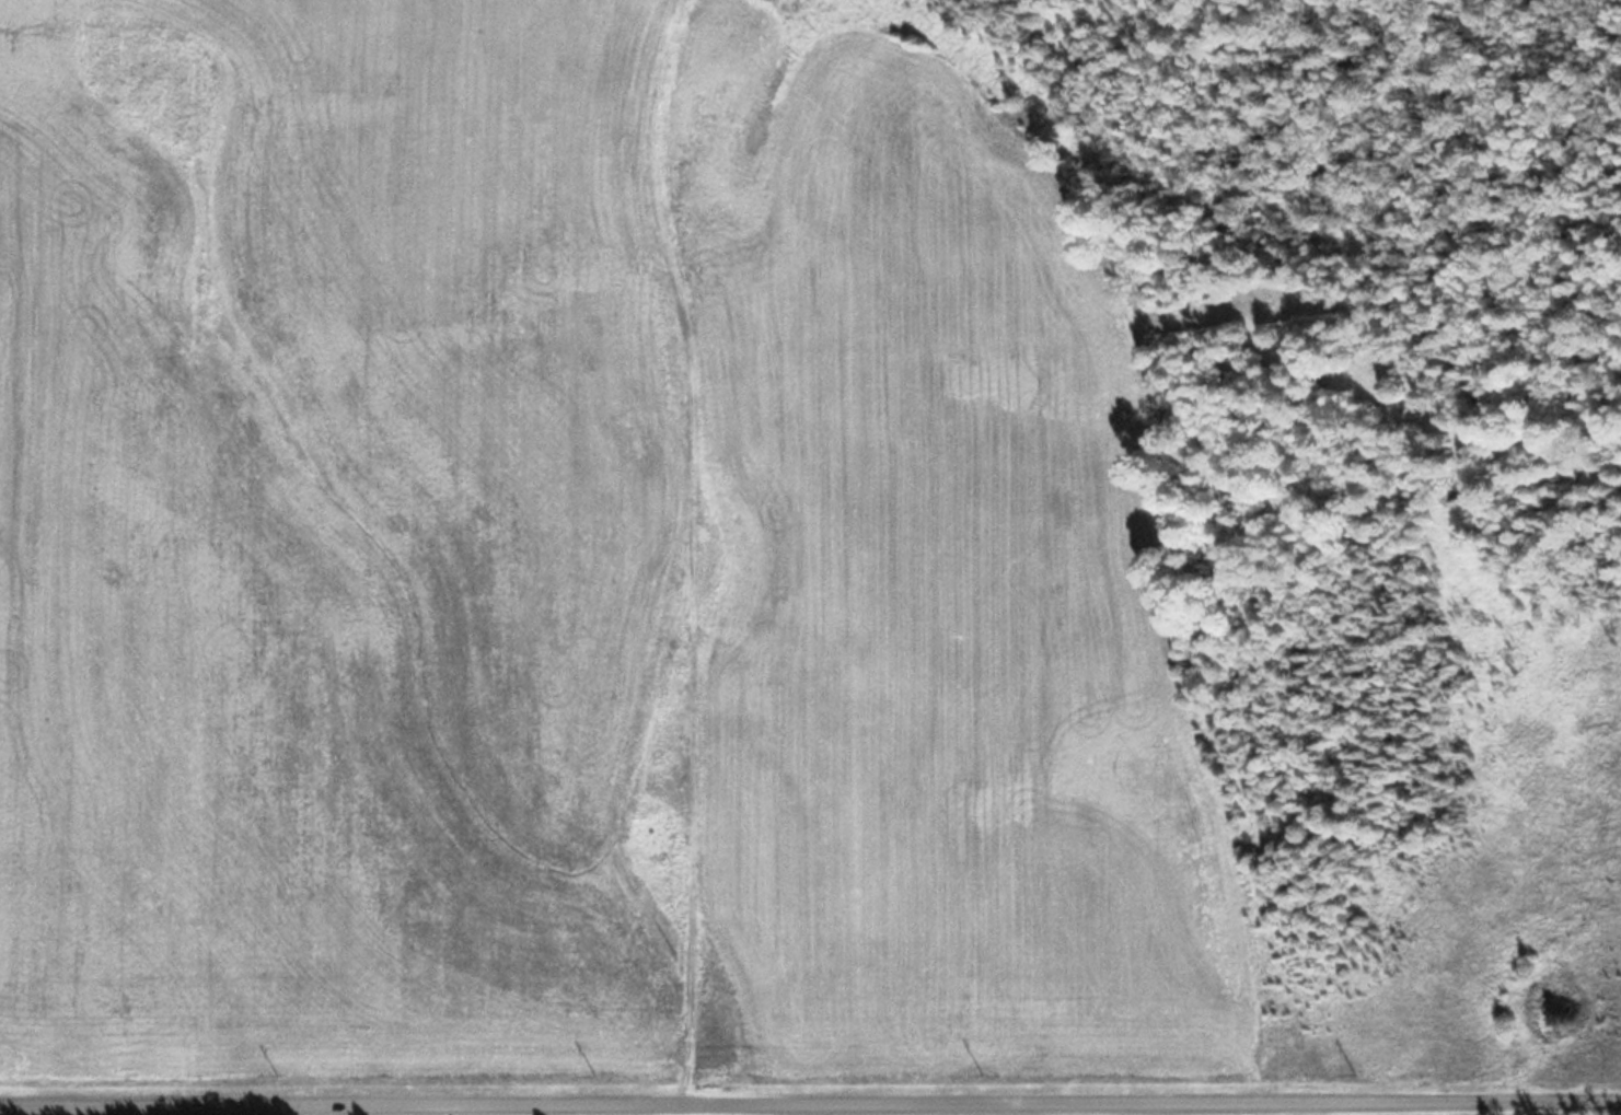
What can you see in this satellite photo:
road: (691, 554)
road: (24, 1114)
road: (1572, 1114)

